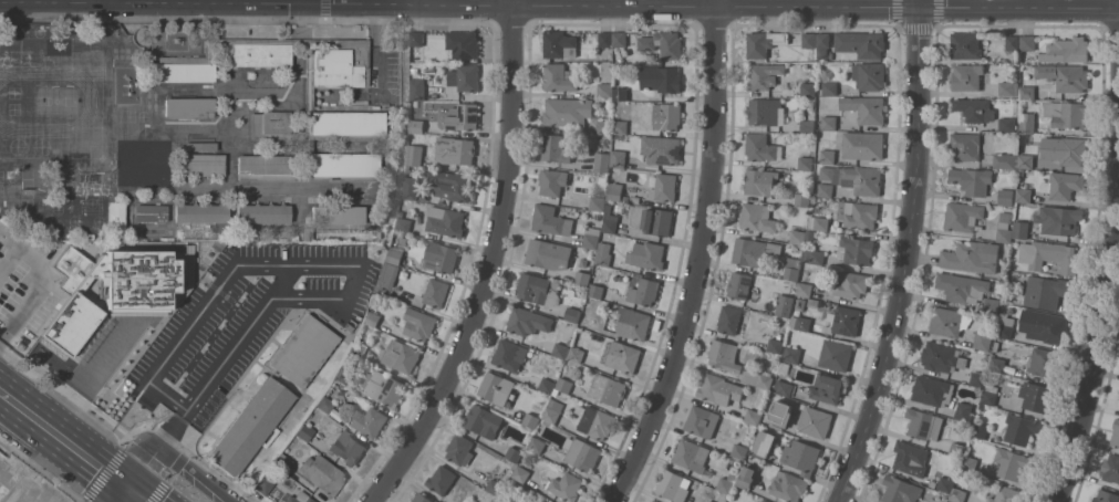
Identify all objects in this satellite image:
road: (94, 1)
road: (308, 2)
road: (916, 3)
road: (457, 4)
traffic signals: (916, 7)
road: (1017, 7)
building: (417, 38)
building: (605, 39)
building: (621, 39)
building: (809, 39)
building: (764, 42)
building: (1013, 42)
building: (1028, 42)
building: (663, 43)
building: (861, 43)
building: (467, 44)
building: (559, 44)
building: (965, 44)
building: (823, 45)
building: (1066, 50)
building: (258, 55)
building: (340, 63)
building: (414, 70)
building: (184, 72)
building: (764, 75)
building: (869, 75)
building: (1065, 75)
building: (966, 76)
building: (468, 77)
building: (559, 77)
building: (661, 79)
building: (829, 87)
building: (1008, 87)
building: (418, 88)
building: (808, 88)
building: (1028, 88)
building: (604, 90)
building: (621, 93)
building: (188, 107)
building: (864, 107)
building: (974, 108)
building: (568, 111)
building: (766, 111)
building: (1066, 113)
building: (462, 115)
building: (666, 115)
building: (828, 122)
building: (1027, 122)
building: (808, 123)
building: (1008, 124)
building: (269, 125)
building: (346, 125)
building: (417, 125)
building: (603, 126)
building: (620, 126)
building: (863, 145)
building: (965, 146)
building: (761, 147)
building: (555, 148)
building: (455, 149)
building: (662, 149)
building: (1070, 150)
building: (415, 155)
building: (828, 155)
building: (601, 157)
building: (619, 158)
building: (1006, 159)
building: (1025, 159)
building: (805, 161)
building: (134, 165)
building: (152, 165)
building: (201, 165)
building: (344, 167)
building: (266, 169)
building: (1020, 171)
building: (854, 178)
building: (971, 180)
building: (759, 181)
building: (553, 182)
building: (449, 185)
building: (1063, 185)
building: (663, 186)
building: (411, 187)
building: (825, 189)
building: (615, 190)
building: (1024, 195)
building: (1006, 196)
building: (598, 198)
building: (631, 198)
building: (802, 199)
building: (401, 212)
building: (149, 213)
building: (200, 213)
building: (262, 213)
building: (858, 213)
building: (64, 215)
building: (91, 215)
building: (599, 215)
building: (115, 216)
building: (338, 216)
building: (757, 217)
building: (964, 217)
building: (610, 219)
building: (1058, 219)
building: (445, 220)
building: (550, 220)
building: (657, 220)
building: (818, 222)
building: (403, 223)
building: (1004, 227)
building: (1020, 229)
building: (307, 234)
building: (591, 237)
building: (797, 237)
building: (854, 249)
building: (754, 251)
building: (549, 253)
building: (396, 254)
building: (647, 254)
building: (1048, 254)
building: (441, 255)
building: (814, 255)
building: (971, 257)
building: (604, 258)
road: (700, 258)
road: (904, 258)
building: (583, 262)
road: (489, 264)
road: (349, 265)
building: (70, 268)
building: (791, 268)
building: (582, 276)
building: (387, 279)
road: (283, 282)
building: (739, 284)
building: (851, 284)
road: (40, 285)
building: (961, 285)
building: (536, 289)
building: (805, 289)
building: (595, 290)
building: (644, 291)
building: (1047, 291)
building: (435, 292)
building: (800, 303)
building: (784, 304)
building: (991, 305)
building: (966, 311)
building: (572, 313)
building: (373, 318)
building: (729, 318)
building: (845, 320)
building: (527, 321)
building: (949, 321)
building: (633, 323)
building: (802, 323)
building: (419, 324)
building: (595, 324)
building: (1005, 325)
building: (1043, 325)
building: (348, 327)
building: (982, 339)
building: (775, 345)
building: (359, 348)
building: (560, 349)
building: (303, 351)
building: (576, 353)
building: (509, 354)
building: (792, 354)
building: (835, 354)
building: (400, 355)
building: (725, 355)
building: (621, 356)
building: (942, 357)
road: (1091, 358)
building: (1043, 362)
building: (998, 364)
building: (784, 367)
building: (774, 372)
building: (343, 377)
building: (757, 378)
building: (976, 378)
building: (564, 385)
building: (548, 386)
building: (383, 387)
building: (496, 387)
building: (608, 388)
building: (785, 388)
building: (827, 388)
building: (719, 389)
building: (932, 390)
building: (556, 391)
building: (990, 394)
building: (1036, 396)
road: (96, 402)
building: (325, 405)
building: (982, 407)
building: (553, 410)
building: (963, 410)
building: (753, 416)
building: (370, 420)
building: (483, 420)
building: (531, 420)
building: (703, 420)
building: (594, 421)
building: (777, 421)
building: (815, 421)
building: (547, 422)
building: (924, 423)
road: (66, 426)
building: (250, 427)
building: (1020, 428)
building: (980, 430)
building: (304, 432)
building: (1115, 432)
building: (740, 440)
building: (765, 443)
building: (537, 445)
building: (345, 447)
road: (129, 448)
building: (459, 449)
building: (957, 449)
building: (739, 451)
building: (514, 453)
building: (581, 453)
building: (691, 454)
road: (59, 456)
building: (801, 456)
building: (909, 456)
road: (144, 461)
building: (282, 462)
building: (1011, 462)
building: (970, 463)
building: (1110, 468)
building: (498, 469)
building: (747, 472)
building: (521, 473)
road: (190, 474)
building: (322, 474)
traffic signals: (135, 477)
building: (442, 479)
building: (945, 483)
building: (725, 484)
building: (564, 485)
building: (674, 485)
building: (788, 485)
building: (495, 487)
building: (263, 488)
road: (126, 489)
road: (151, 489)
building: (900, 490)
building: (959, 494)
building: (1006, 494)
building: (1106, 496)
building: (299, 498)
building: (421, 498)
building: (495, 499)
building: (504, 499)
building: (944, 499)
traffic signals: (117, 501)
building: (281, 501)
building: (548, 501)
building: (551, 501)
building: (649, 501)
building: (654, 501)
building: (707, 501)
building: (711, 501)
building: (754, 501)
building: (760, 501)
building: (765, 501)
building: (952, 501)

